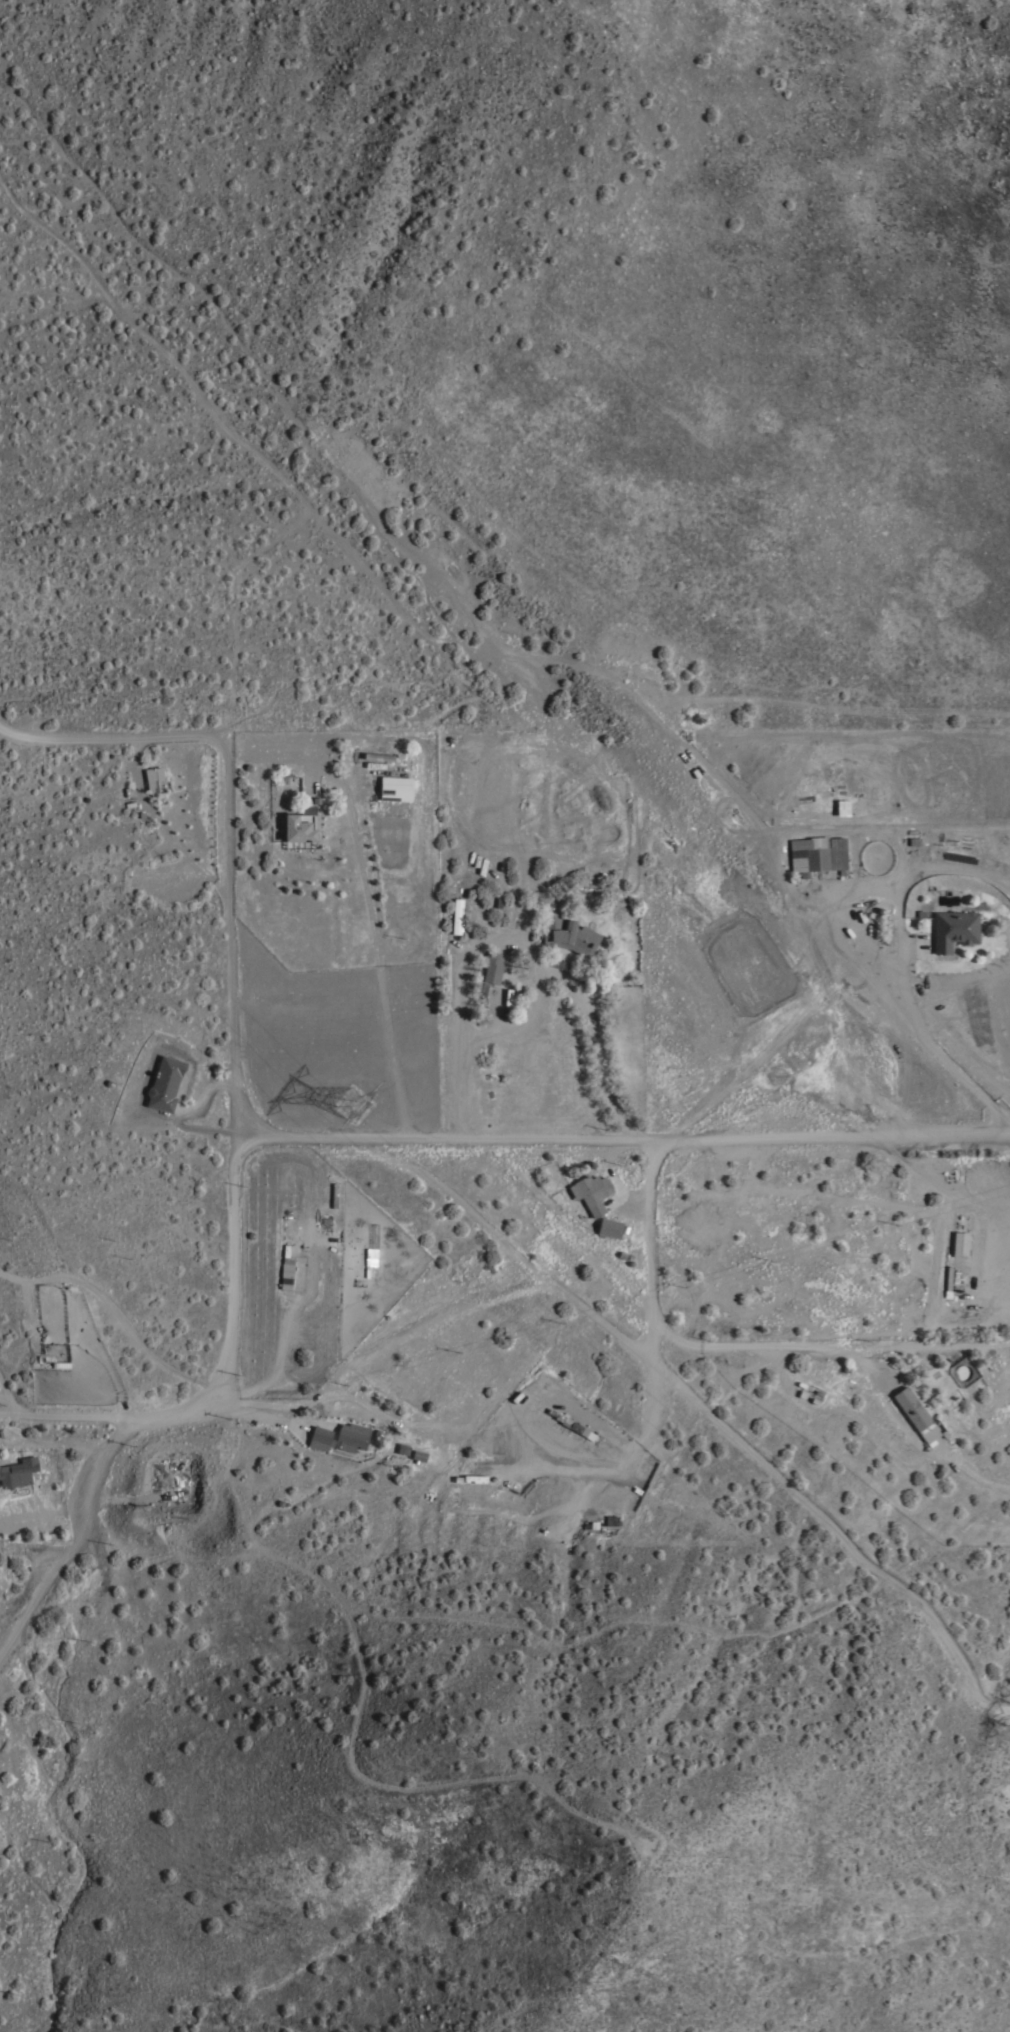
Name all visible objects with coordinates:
road: (112, 740)
building: (153, 774)
building: (395, 787)
building: (840, 807)
building: (301, 823)
building: (816, 859)
building: (457, 914)
building: (954, 928)
building: (569, 933)
road: (515, 939)
road: (372, 940)
road: (897, 940)
building: (492, 966)
road: (519, 1021)
building: (165, 1082)
power tower: (360, 1109)
road: (621, 1142)
road: (233, 1154)
road: (941, 1184)
building: (591, 1191)
building: (609, 1226)
building: (950, 1235)
building: (285, 1267)
road: (964, 1275)
road: (380, 1343)
road: (738, 1349)
road: (10, 1399)
road: (244, 1412)
building: (913, 1413)
road: (24, 1420)
building: (340, 1436)
building: (402, 1448)
building: (419, 1454)
building: (18, 1471)
road: (977, 1478)
road: (103, 1485)
road: (416, 1618)

